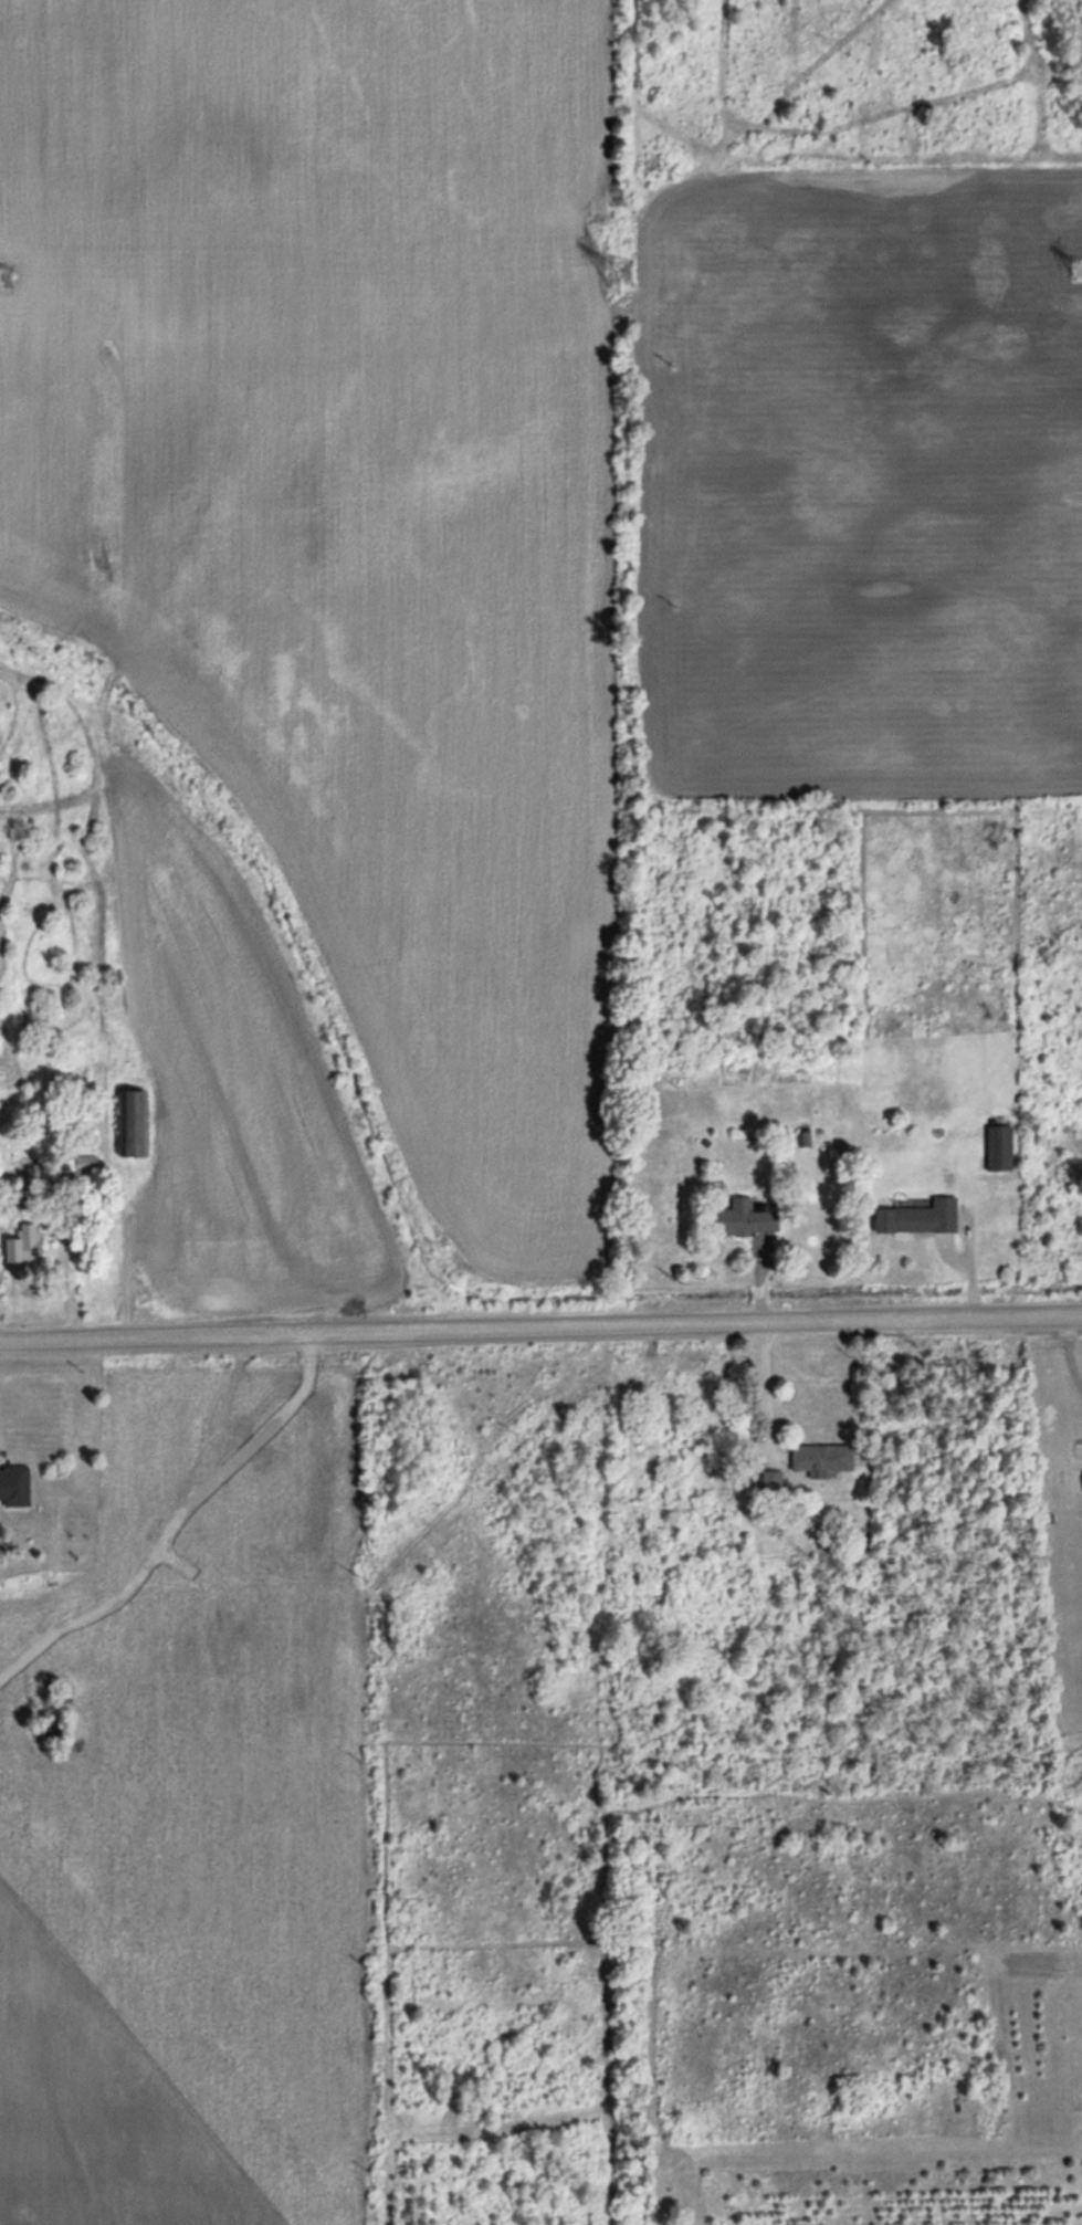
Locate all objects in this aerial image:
power tower: (619, 271)
power tower: (1081, 271)
power tower: (1, 276)
building: (997, 1150)
building: (744, 1220)
building: (22, 1245)
road: (122, 1249)
road: (540, 1324)
road: (1070, 1358)
road: (763, 1392)
building: (819, 1460)
building: (770, 1481)
building: (14, 1486)

